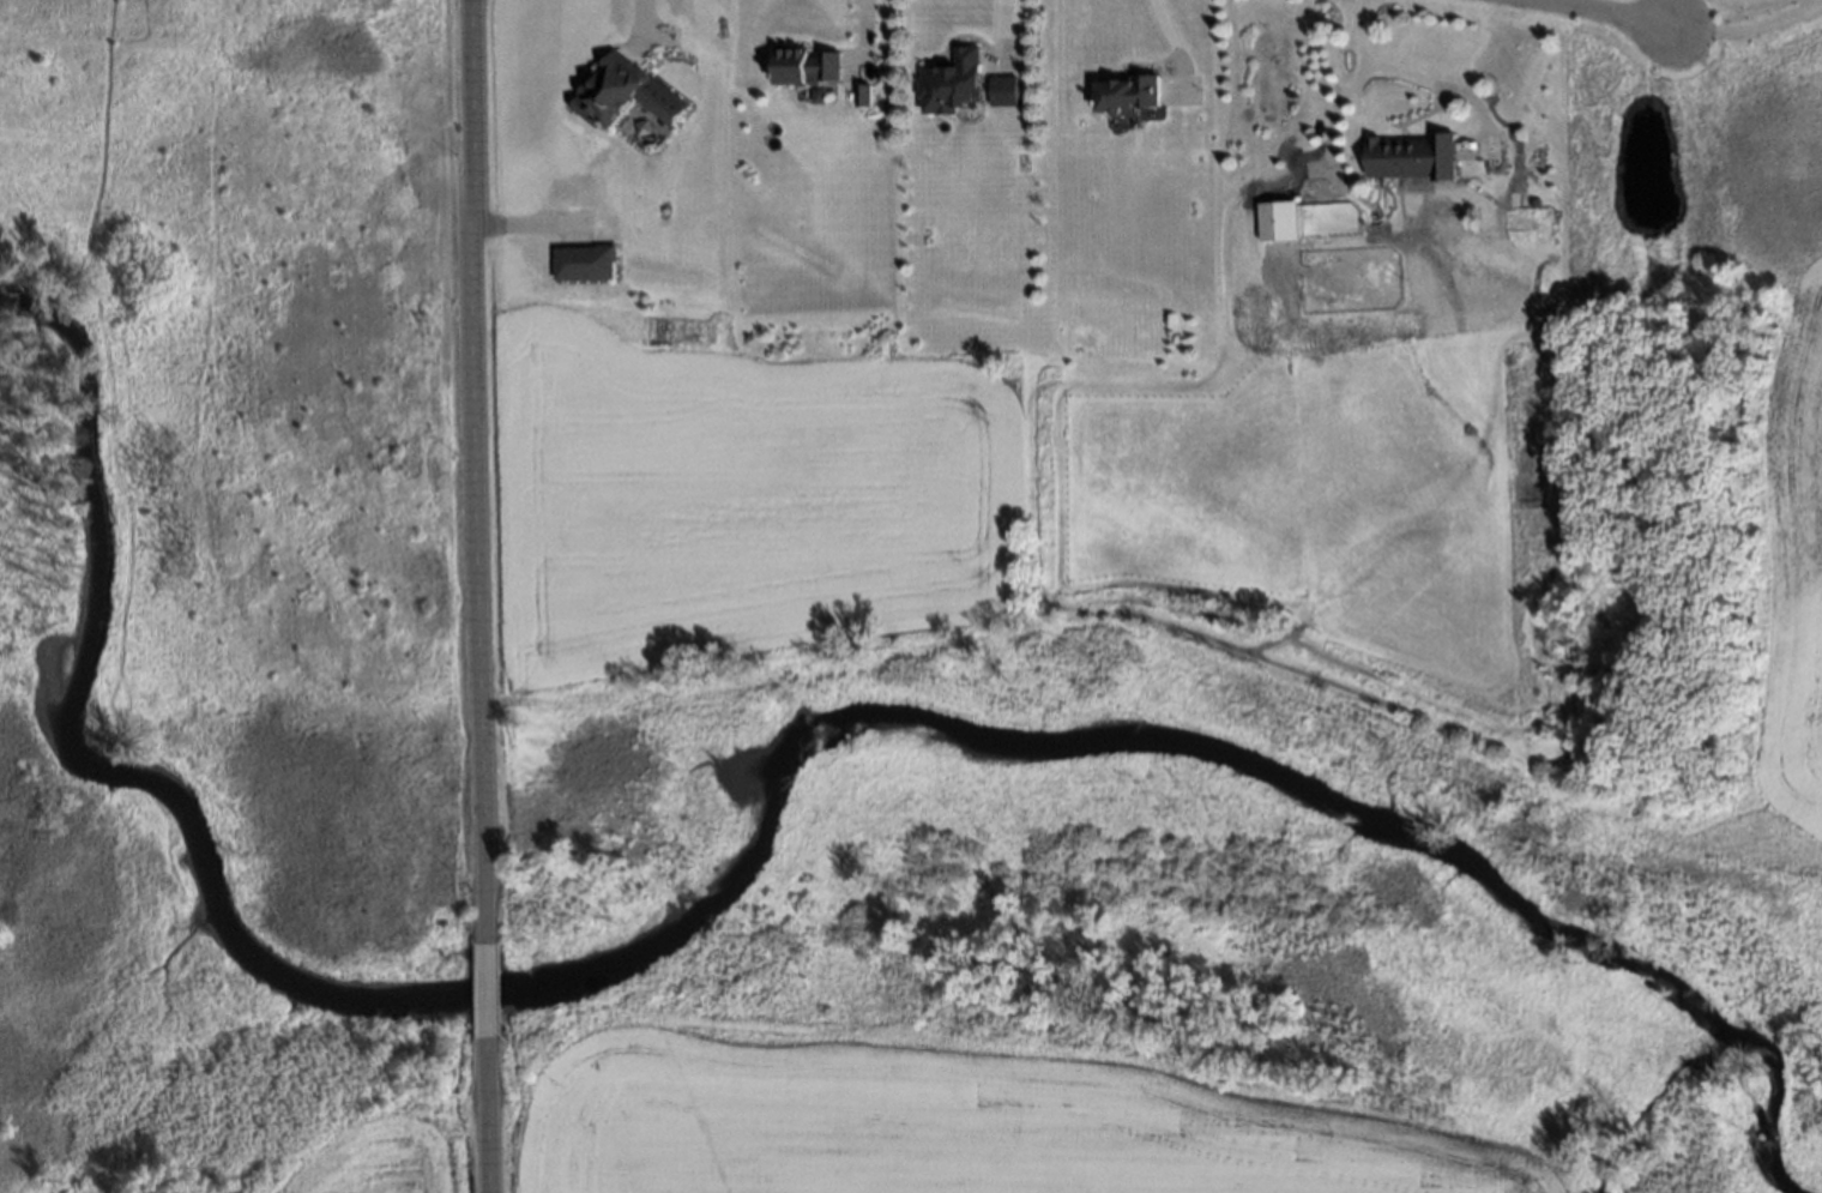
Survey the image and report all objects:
road: (1595, 12)
road: (995, 26)
road: (1745, 29)
road: (1162, 34)
road: (853, 40)
building: (804, 66)
road: (1412, 78)
building: (949, 79)
building: (1001, 88)
building: (619, 91)
building: (1123, 91)
building: (859, 94)
road: (1325, 120)
building: (1411, 153)
building: (1528, 203)
building: (1273, 216)
building: (1346, 216)
building: (1545, 259)
building: (581, 263)
road: (477, 470)
river: (79, 516)
river: (804, 737)
road: (485, 990)
road: (488, 1116)
river: (1766, 1120)

